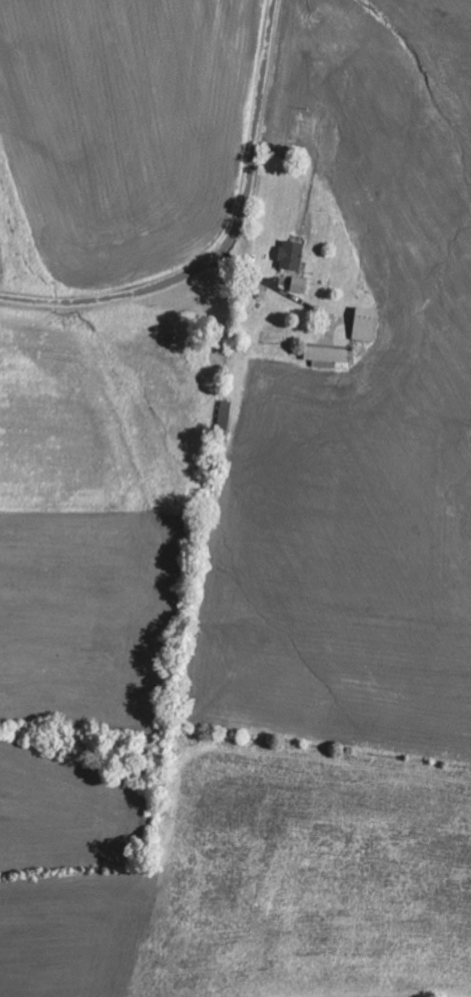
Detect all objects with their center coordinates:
road: (227, 238)
building: (294, 256)
building: (302, 287)
building: (368, 326)
building: (332, 359)

